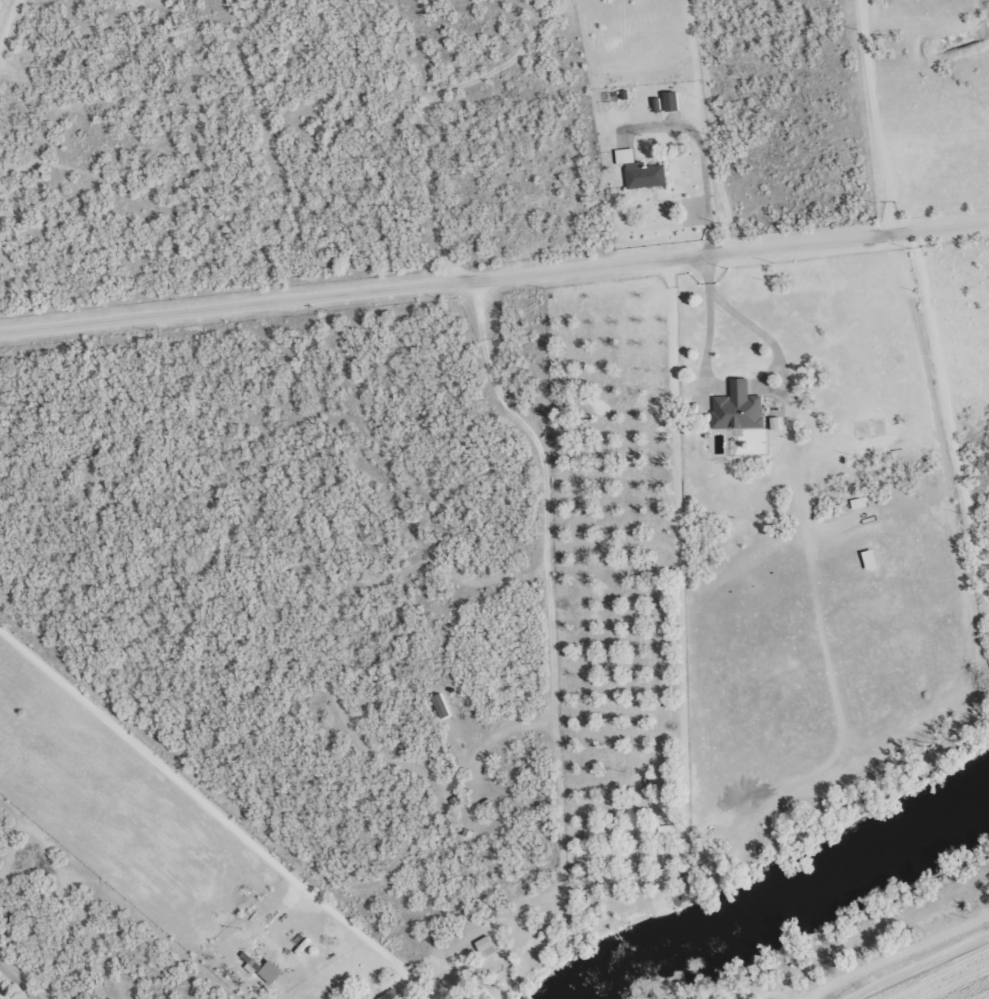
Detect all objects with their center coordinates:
building: (670, 101)
road: (853, 106)
road: (239, 138)
building: (624, 156)
building: (644, 175)
road: (493, 251)
building: (736, 408)
building: (857, 503)
building: (868, 559)
building: (440, 706)
building: (666, 832)
building: (593, 898)
building: (485, 947)
building: (261, 960)
road: (942, 974)
building: (391, 996)

